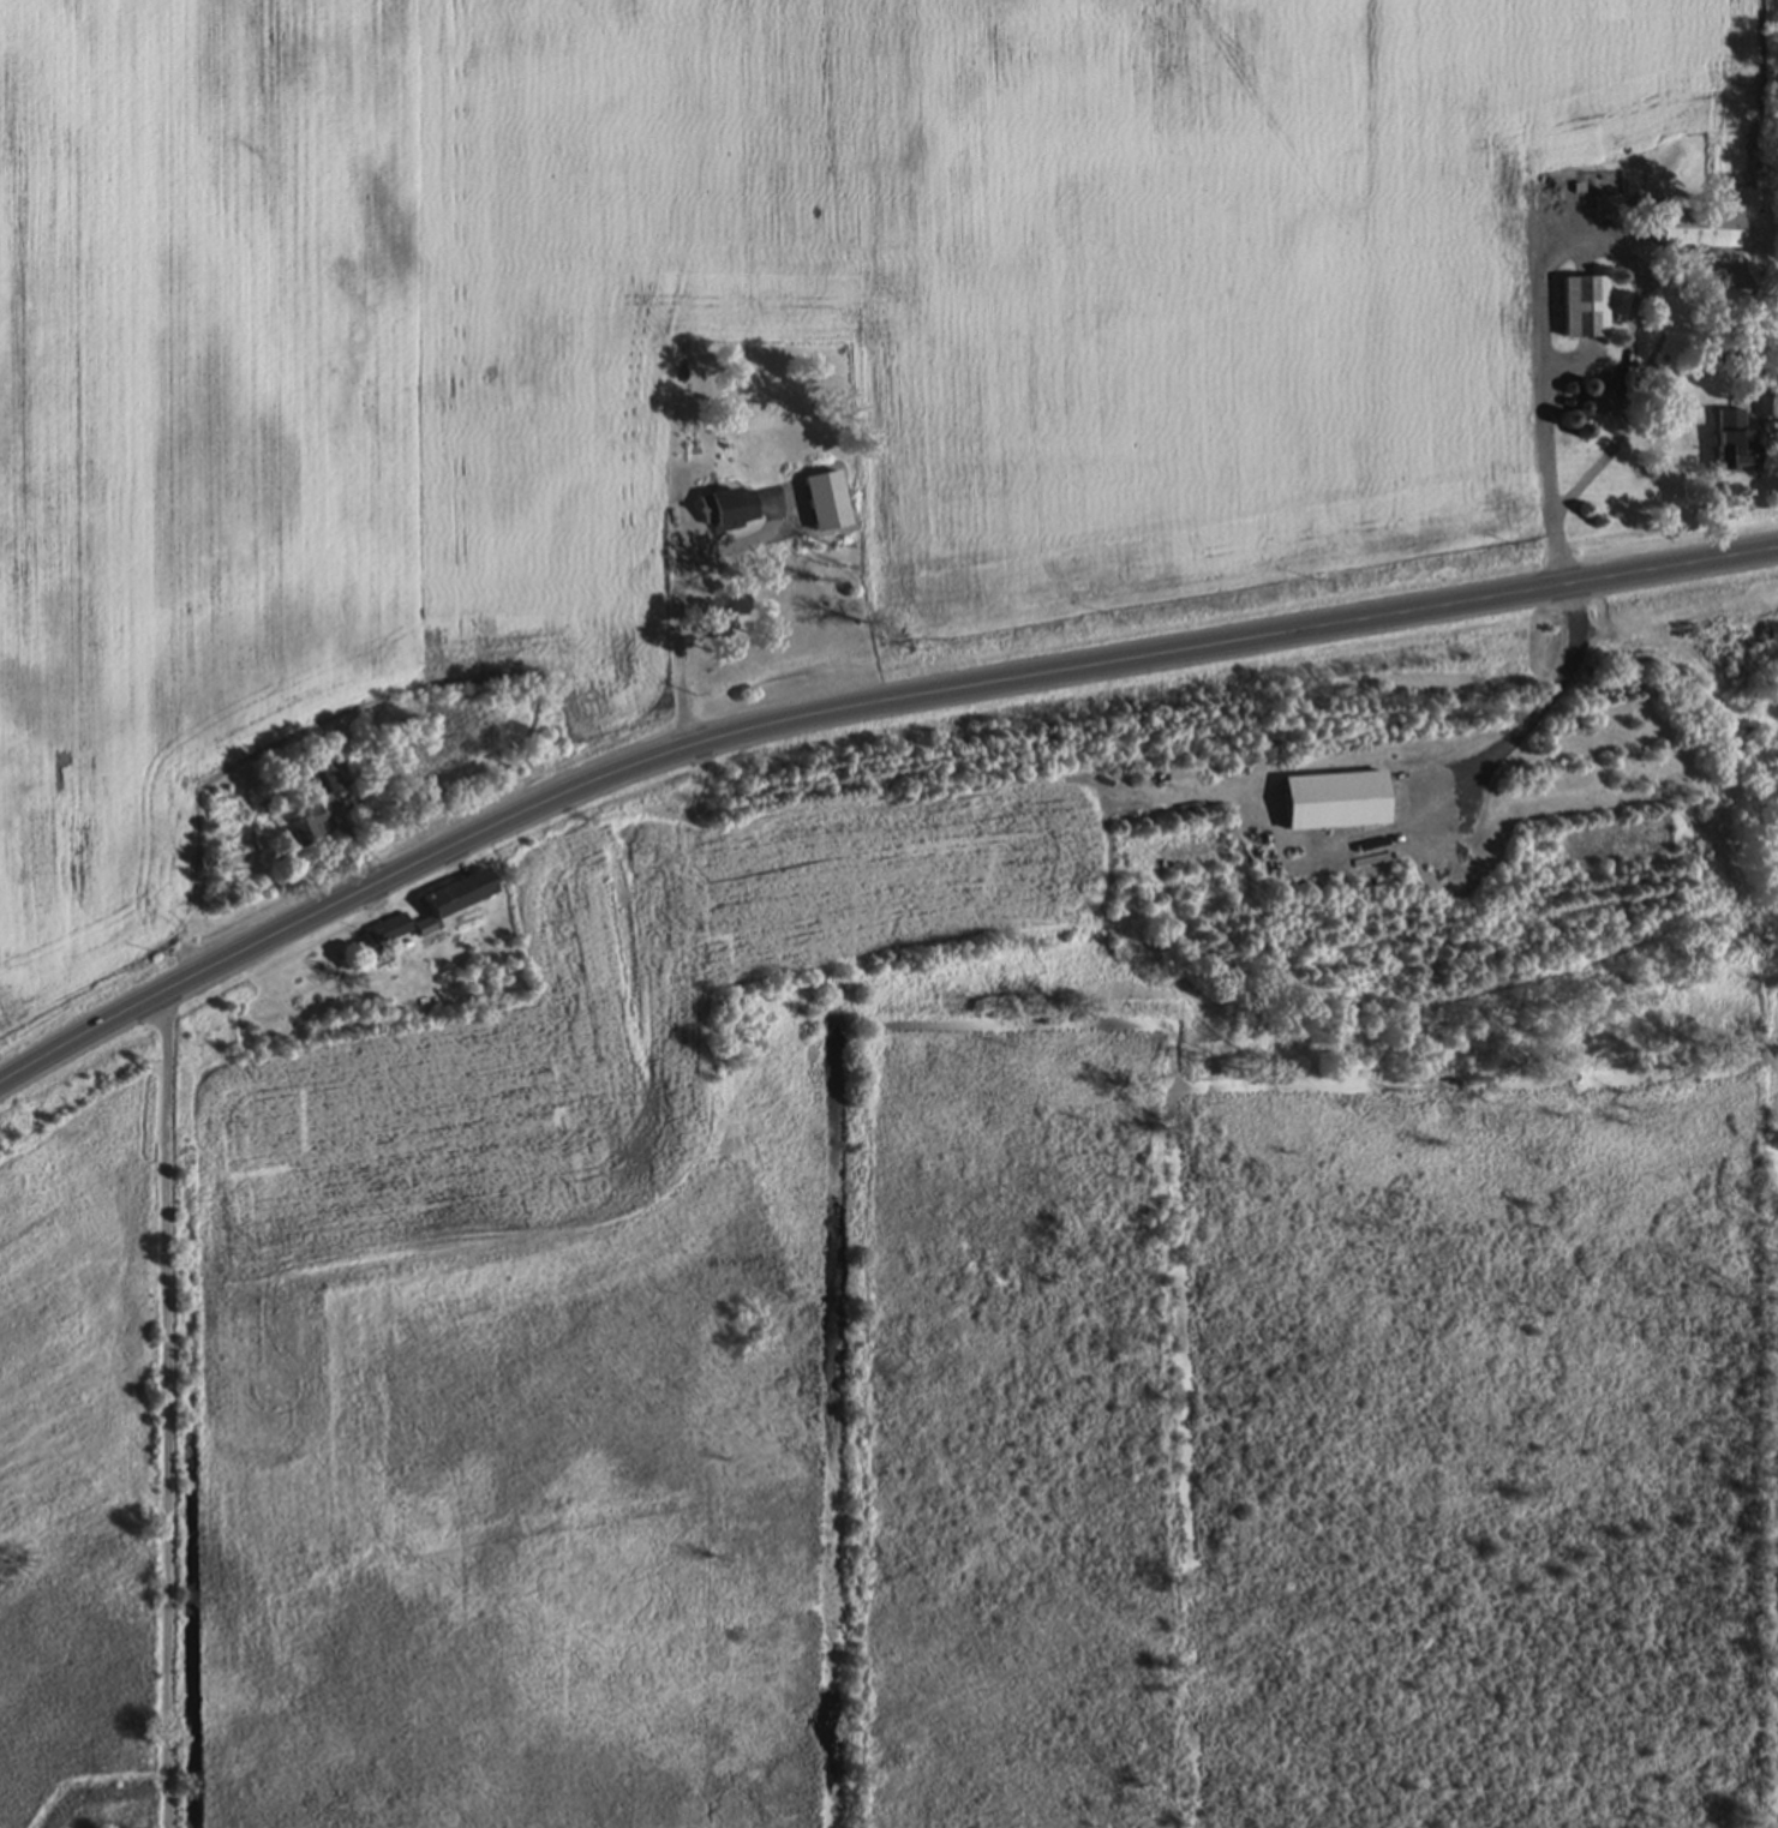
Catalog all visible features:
building: (1700, 233)
building: (1585, 310)
road: (1537, 322)
road: (1621, 370)
building: (1766, 404)
building: (1734, 445)
building: (729, 511)
road: (677, 597)
building: (1773, 636)
road: (852, 709)
road: (1519, 717)
building: (327, 781)
building: (1334, 805)
building: (307, 831)
building: (460, 898)
building: (390, 934)
road: (170, 1412)

